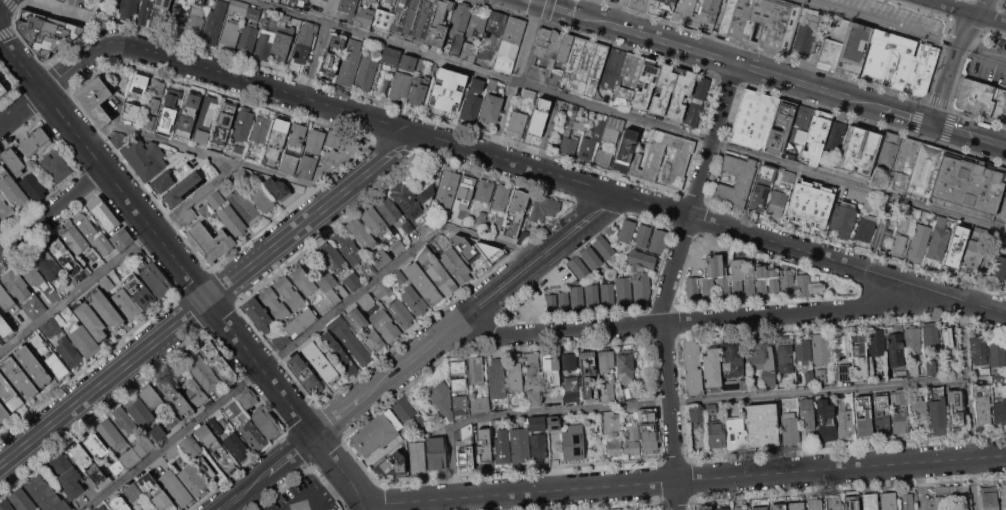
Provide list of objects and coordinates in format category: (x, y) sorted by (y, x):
building: (63, 0)
building: (268, 0)
building: (307, 0)
building: (372, 1)
building: (613, 1)
building: (293, 3)
road: (4, 4)
building: (640, 4)
building: (349, 6)
road: (557, 6)
building: (660, 6)
building: (238, 7)
road: (979, 7)
road: (56, 10)
building: (127, 10)
building: (159, 10)
road: (968, 11)
building: (144, 12)
building: (253, 13)
building: (685, 13)
building: (177, 14)
building: (707, 14)
building: (385, 16)
building: (363, 17)
building: (414, 18)
building: (459, 19)
building: (195, 21)
building: (439, 22)
building: (479, 22)
building: (214, 23)
building: (761, 23)
building: (808, 29)
road: (911, 29)
building: (514, 32)
building: (46, 33)
building: (230, 33)
building: (492, 35)
building: (248, 37)
building: (274, 41)
building: (304, 41)
building: (454, 44)
building: (552, 45)
building: (833, 45)
building: (854, 48)
road: (319, 49)
building: (469, 52)
building: (333, 53)
building: (391, 56)
building: (888, 59)
building: (405, 60)
road: (731, 60)
building: (350, 63)
building: (426, 65)
building: (504, 65)
building: (550, 65)
building: (583, 66)
road: (949, 66)
building: (921, 68)
building: (367, 71)
road: (514, 76)
building: (630, 76)
building: (387, 81)
road: (57, 82)
building: (139, 83)
building: (492, 84)
building: (647, 84)
building: (402, 85)
building: (476, 85)
building: (701, 87)
building: (2, 88)
building: (664, 89)
building: (418, 90)
building: (448, 90)
building: (385, 91)
building: (528, 95)
building: (682, 95)
building: (981, 98)
building: (94, 100)
building: (153, 104)
building: (471, 107)
building: (491, 108)
building: (168, 111)
building: (227, 112)
building: (127, 113)
building: (586, 113)
road: (628, 114)
building: (693, 114)
building: (187, 116)
road: (908, 116)
building: (206, 119)
building: (539, 119)
building: (754, 119)
building: (800, 120)
building: (516, 123)
building: (243, 125)
building: (782, 125)
building: (261, 129)
building: (551, 129)
building: (613, 129)
road: (969, 133)
building: (630, 134)
building: (592, 136)
building: (817, 136)
building: (118, 138)
building: (278, 138)
building: (333, 138)
building: (834, 139)
building: (315, 140)
building: (35, 141)
building: (570, 141)
building: (293, 148)
building: (860, 151)
building: (239, 152)
building: (888, 152)
road: (209, 153)
building: (337, 155)
building: (144, 157)
building: (604, 157)
building: (13, 161)
building: (624, 161)
building: (681, 161)
building: (906, 162)
building: (55, 167)
building: (307, 167)
building: (926, 170)
building: (767, 172)
building: (240, 174)
road: (561, 175)
building: (788, 176)
building: (736, 180)
building: (163, 181)
building: (970, 182)
building: (33, 186)
building: (12, 187)
building: (278, 188)
building: (447, 188)
building: (181, 189)
building: (466, 189)
building: (484, 190)
building: (261, 197)
building: (758, 198)
building: (215, 199)
building: (413, 200)
building: (240, 201)
building: (868, 202)
building: (501, 203)
building: (811, 203)
building: (776, 204)
building: (543, 207)
building: (888, 207)
building: (6, 210)
road: (53, 210)
building: (205, 210)
building: (389, 210)
building: (103, 212)
building: (516, 213)
building: (186, 217)
building: (481, 217)
building: (844, 218)
building: (233, 220)
building: (376, 222)
building: (1, 226)
building: (408, 227)
building: (866, 227)
building: (488, 229)
building: (610, 230)
building: (626, 231)
building: (93, 233)
building: (980, 233)
road: (157, 234)
building: (362, 234)
building: (523, 234)
building: (881, 235)
building: (643, 236)
building: (75, 238)
building: (121, 238)
building: (455, 240)
building: (658, 240)
building: (938, 240)
building: (440, 241)
building: (210, 242)
building: (919, 243)
building: (898, 244)
building: (397, 246)
building: (604, 247)
building: (348, 248)
road: (990, 251)
building: (492, 252)
building: (953, 254)
building: (138, 255)
building: (973, 256)
building: (591, 257)
building: (333, 259)
building: (381, 259)
building: (641, 259)
road: (120, 260)
building: (68, 261)
building: (46, 263)
building: (455, 265)
building: (579, 267)
building: (999, 268)
building: (370, 269)
building: (30, 270)
building: (437, 272)
building: (400, 276)
building: (154, 277)
building: (0, 279)
building: (303, 280)
building: (748, 280)
building: (352, 281)
road: (668, 281)
building: (16, 283)
building: (423, 283)
building: (106, 284)
building: (332, 287)
building: (138, 288)
building: (642, 288)
building: (624, 290)
building: (289, 292)
building: (607, 294)
building: (53, 296)
building: (592, 296)
building: (577, 297)
building: (5, 298)
road: (206, 300)
building: (367, 300)
building: (414, 300)
building: (563, 300)
building: (551, 302)
building: (274, 303)
building: (126, 304)
building: (323, 304)
building: (394, 304)
building: (34, 307)
building: (105, 307)
building: (258, 314)
road: (464, 314)
building: (357, 319)
building: (90, 320)
road: (681, 320)
building: (300, 322)
building: (62, 323)
building: (385, 324)
building: (5, 327)
building: (51, 327)
road: (302, 336)
building: (931, 336)
building: (913, 338)
building: (950, 338)
building: (0, 340)
building: (83, 340)
building: (280, 340)
building: (350, 340)
building: (373, 340)
building: (876, 342)
building: (38, 343)
building: (821, 349)
building: (895, 349)
building: (978, 349)
building: (803, 350)
building: (69, 352)
building: (338, 353)
building: (785, 353)
building: (998, 354)
building: (859, 355)
building: (764, 358)
building: (606, 360)
building: (321, 361)
building: (570, 361)
building: (219, 362)
building: (33, 365)
building: (57, 365)
building: (733, 365)
building: (931, 366)
building: (625, 367)
building: (693, 367)
building: (712, 369)
building: (914, 369)
building: (476, 370)
building: (551, 370)
building: (985, 370)
building: (202, 372)
building: (842, 372)
building: (305, 373)
building: (589, 374)
building: (459, 375)
building: (514, 375)
building: (820, 376)
building: (18, 377)
building: (998, 377)
building: (496, 378)
building: (809, 378)
building: (533, 379)
building: (608, 389)
building: (572, 391)
building: (9, 393)
building: (195, 393)
building: (175, 396)
building: (899, 396)
building: (151, 397)
road: (681, 398)
building: (247, 399)
building: (442, 399)
building: (554, 399)
building: (461, 402)
building: (480, 404)
road: (968, 404)
building: (982, 404)
building: (918, 405)
building: (955, 407)
building: (403, 409)
building: (711, 409)
building: (3, 411)
building: (139, 411)
building: (881, 411)
building: (938, 411)
building: (697, 413)
building: (808, 413)
building: (1000, 413)
building: (863, 415)
building: (844, 418)
building: (124, 419)
building: (826, 419)
building: (169, 420)
building: (420, 421)
building: (901, 421)
building: (266, 422)
building: (537, 422)
building: (554, 423)
building: (612, 423)
building: (762, 425)
building: (246, 426)
building: (790, 426)
building: (215, 427)
building: (649, 429)
building: (466, 431)
building: (157, 432)
building: (376, 432)
building: (633, 432)
building: (735, 432)
building: (111, 434)
building: (716, 434)
building: (207, 436)
building: (573, 442)
building: (94, 445)
building: (484, 445)
building: (521, 445)
building: (144, 446)
building: (190, 446)
building: (236, 446)
building: (538, 446)
building: (502, 447)
building: (614, 447)
building: (631, 447)
building: (436, 453)
building: (129, 457)
building: (417, 457)
building: (465, 458)
building: (87, 463)
building: (392, 464)
building: (117, 467)
road: (265, 471)
road: (340, 471)
building: (67, 476)
road: (685, 478)
building: (194, 479)
building: (176, 487)
building: (952, 489)
building: (156, 491)
building: (133, 493)
building: (45, 494)
parking lot: (301, 496)
building: (1003, 496)
building: (989, 498)
road: (321, 499)
building: (22, 500)
building: (870, 501)
building: (889, 501)
building: (907, 501)
building: (966, 502)
building: (119, 503)
building: (815, 503)
building: (833, 503)
building: (851, 503)
building: (939, 503)
building: (6, 505)
building: (797, 505)
road: (321, 506)
building: (778, 506)
building: (703, 507)
building: (760, 507)
building: (102, 508)
building: (723, 508)
building: (741, 508)
building: (949, 509)

